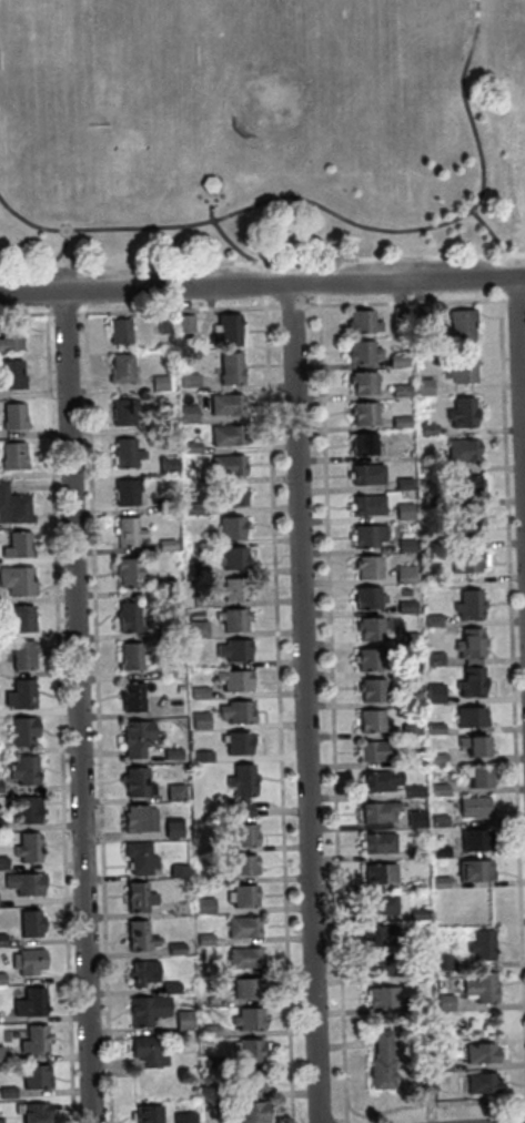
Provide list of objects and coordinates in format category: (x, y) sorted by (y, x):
park: (301, 63)
park: (255, 130)
building: (208, 186)
road: (339, 214)
road: (221, 235)
road: (492, 236)
road: (57, 255)
road: (262, 264)
road: (512, 272)
road: (497, 284)
road: (262, 285)
road: (316, 290)
road: (262, 291)
road: (44, 292)
road: (515, 300)
road: (404, 303)
road: (290, 306)
road: (175, 308)
road: (24, 313)
road: (63, 313)
building: (420, 314)
building: (397, 315)
building: (360, 321)
building: (183, 323)
building: (460, 324)
building: (162, 325)
building: (226, 330)
building: (118, 331)
building: (9, 336)
building: (360, 352)
building: (395, 360)
building: (119, 367)
building: (229, 367)
building: (460, 370)
building: (9, 374)
building: (188, 380)
building: (361, 382)
building: (158, 383)
building: (422, 386)
road: (521, 388)
building: (398, 391)
building: (224, 404)
building: (121, 412)
building: (186, 413)
building: (362, 413)
building: (460, 413)
building: (11, 415)
building: (162, 422)
building: (398, 422)
building: (426, 428)
building: (221, 435)
building: (362, 444)
building: (189, 447)
building: (461, 449)
building: (124, 452)
building: (11, 455)
building: (165, 464)
building: (224, 465)
building: (426, 466)
building: (364, 474)
building: (402, 483)
building: (462, 485)
building: (124, 492)
building: (226, 496)
building: (432, 502)
building: (164, 505)
building: (365, 505)
building: (12, 507)
building: (190, 508)
building: (402, 512)
building: (464, 526)
building: (229, 527)
building: (125, 532)
building: (366, 535)
building: (194, 538)
building: (431, 543)
building: (14, 545)
building: (163, 545)
building: (404, 545)
building: (231, 558)
building: (464, 561)
building: (366, 567)
building: (195, 568)
building: (128, 573)
building: (403, 574)
building: (433, 579)
building: (16, 581)
building: (162, 583)
building: (231, 588)
building: (364, 598)
building: (199, 600)
building: (467, 604)
building: (404, 606)
building: (18, 617)
building: (127, 617)
building: (232, 620)
building: (431, 620)
building: (368, 628)
building: (195, 629)
building: (164, 631)
building: (406, 639)
building: (468, 644)
building: (232, 650)
building: (21, 655)
building: (130, 657)
building: (433, 658)
building: (366, 659)
building: (470, 661)
building: (406, 669)
building: (163, 671)
building: (232, 679)
building: (468, 682)
building: (371, 690)
building: (196, 691)
building: (19, 694)
building: (130, 697)
building: (407, 698)
road: (512, 702)
road: (303, 704)
road: (77, 708)
road: (276, 709)
road: (330, 709)
building: (234, 711)
road: (59, 712)
road: (95, 717)
building: (468, 717)
building: (199, 720)
building: (370, 721)
building: (433, 728)
building: (408, 729)
building: (22, 731)
building: (133, 738)
building: (235, 742)
building: (472, 745)
building: (373, 751)
building: (170, 755)
building: (201, 756)
building: (435, 759)
building: (23, 770)
building: (474, 777)
building: (377, 780)
building: (135, 782)
building: (240, 788)
building: (436, 789)
building: (411, 791)
building: (172, 792)
building: (471, 807)
building: (24, 809)
building: (377, 811)
building: (137, 819)
building: (413, 819)
building: (436, 820)
building: (0, 824)
building: (171, 830)
building: (242, 836)
building: (472, 839)
building: (376, 842)
building: (26, 847)
building: (437, 851)
building: (415, 852)
building: (138, 858)
building: (2, 862)
building: (238, 864)
building: (472, 870)
building: (175, 871)
building: (377, 873)
building: (203, 878)
building: (437, 882)
building: (23, 883)
building: (240, 896)
building: (137, 897)
building: (378, 904)
building: (203, 906)
building: (415, 913)
building: (30, 923)
building: (241, 927)
building: (137, 935)
building: (380, 935)
building: (1, 939)
building: (203, 940)
building: (479, 945)
building: (174, 949)
building: (242, 958)
building: (27, 961)
building: (442, 961)
building: (380, 965)
building: (141, 972)
building: (423, 977)
building: (1, 978)
building: (478, 987)
building: (169, 988)
building: (245, 988)
building: (382, 996)
building: (211, 1000)
building: (29, 1002)
building: (443, 1002)
building: (145, 1010)
building: (246, 1019)
building: (182, 1020)
building: (209, 1031)
building: (33, 1041)
building: (145, 1051)
building: (248, 1051)
building: (478, 1053)
building: (0, 1056)
building: (211, 1061)
building: (380, 1061)
building: (440, 1065)
building: (34, 1076)
building: (250, 1082)
building: (479, 1083)
building: (7, 1092)
building: (214, 1093)
road: (431, 1104)
building: (31, 1112)
building: (243, 1113)
building: (145, 1114)
building: (182, 1117)
road: (524, 1119)
road: (339, 1120)
building: (0, 1121)
road: (330, 1122)

